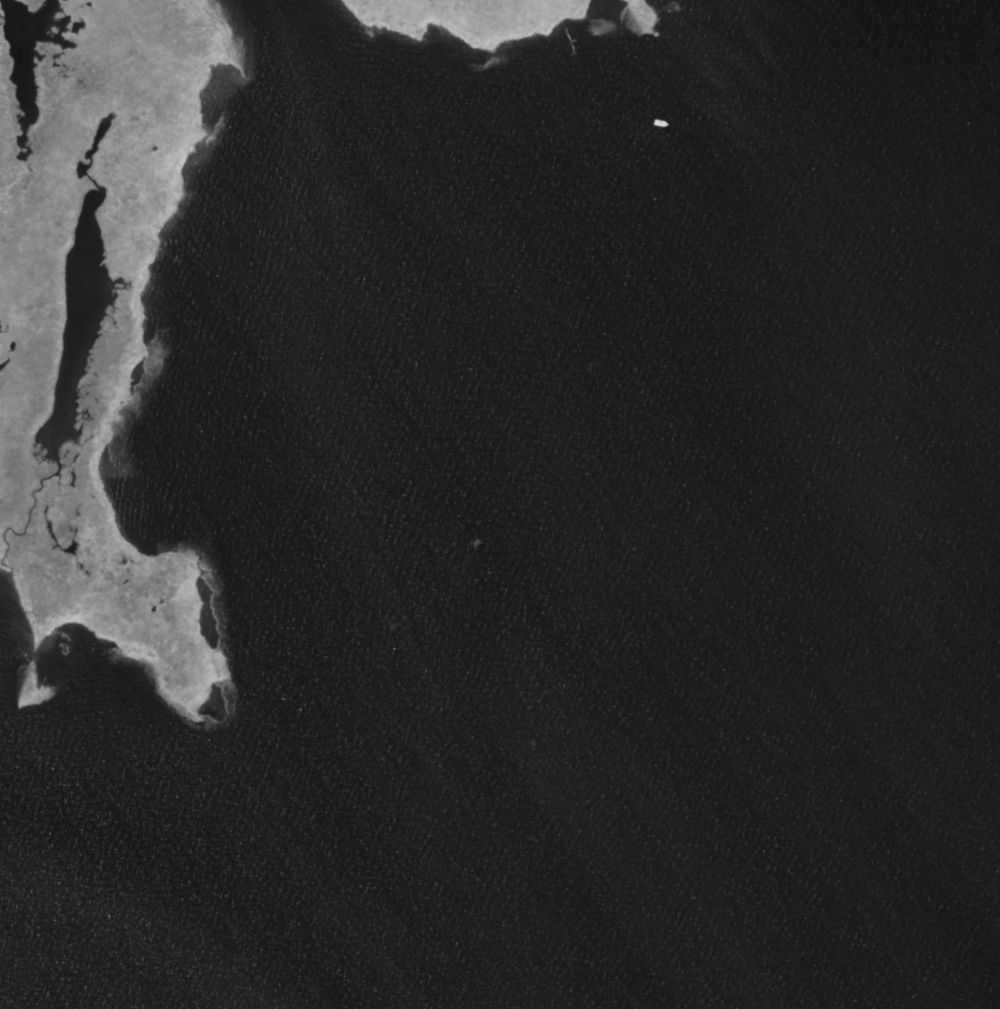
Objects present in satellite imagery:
river: (287, 141)

